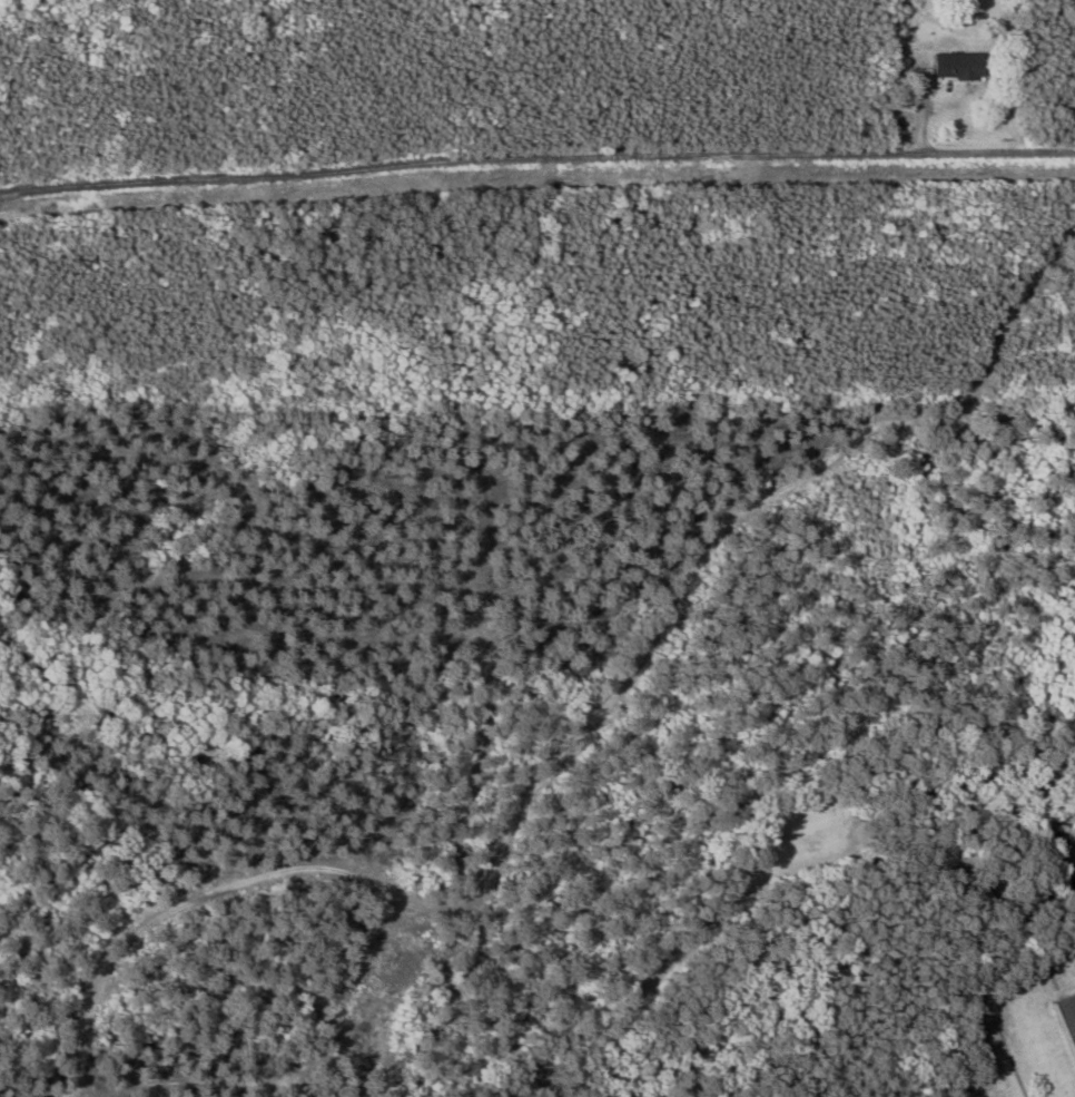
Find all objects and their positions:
building: (955, 66)
road: (536, 159)
building: (1064, 1018)

